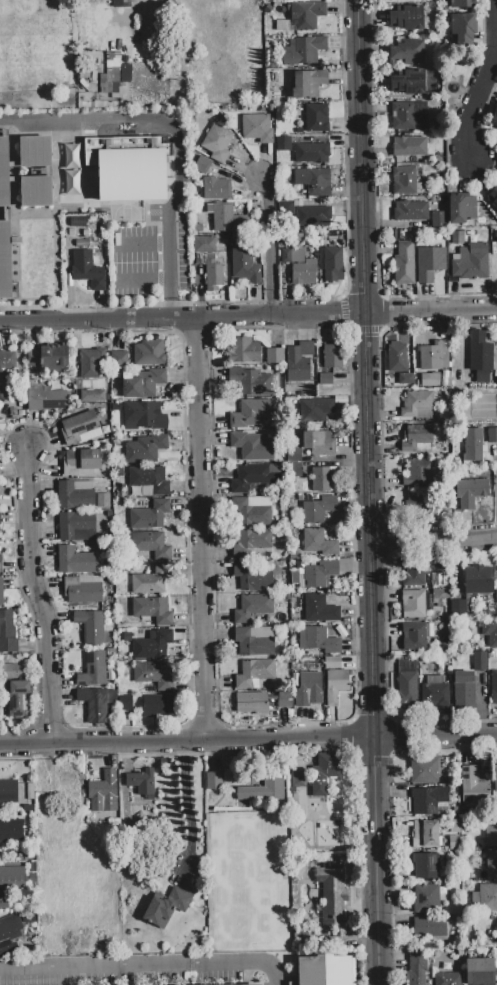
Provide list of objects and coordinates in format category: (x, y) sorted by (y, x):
building: (118, 3)
building: (462, 4)
road: (496, 4)
building: (306, 15)
building: (407, 18)
building: (464, 31)
building: (303, 50)
building: (408, 53)
building: (111, 72)
building: (408, 83)
building: (308, 84)
road: (477, 104)
building: (406, 115)
building: (494, 117)
building: (316, 118)
road: (170, 124)
building: (256, 128)
building: (217, 143)
building: (283, 143)
building: (408, 149)
building: (34, 151)
building: (311, 152)
building: (202, 165)
building: (127, 167)
building: (70, 169)
building: (4, 173)
building: (313, 180)
building: (405, 182)
building: (216, 188)
building: (36, 191)
building: (493, 197)
building: (284, 208)
building: (461, 209)
building: (411, 211)
building: (222, 217)
building: (313, 217)
building: (438, 219)
building: (198, 228)
road: (140, 244)
road: (268, 245)
building: (496, 245)
building: (292, 255)
building: (5, 260)
building: (208, 261)
building: (331, 263)
building: (429, 263)
building: (471, 263)
building: (244, 264)
building: (404, 264)
building: (87, 269)
building: (305, 271)
road: (141, 280)
road: (167, 306)
road: (248, 317)
building: (243, 350)
building: (148, 354)
building: (274, 356)
building: (333, 356)
building: (435, 356)
building: (480, 356)
building: (49, 357)
building: (397, 357)
building: (119, 360)
building: (298, 362)
building: (90, 363)
building: (3, 375)
building: (404, 378)
building: (326, 379)
building: (429, 380)
building: (255, 383)
building: (143, 384)
building: (92, 396)
building: (46, 400)
building: (417, 405)
building: (314, 410)
building: (251, 413)
building: (143, 416)
building: (80, 429)
building: (492, 435)
building: (417, 438)
building: (318, 443)
building: (473, 445)
building: (252, 446)
building: (145, 449)
building: (293, 460)
building: (80, 462)
building: (419, 473)
building: (254, 477)
building: (324, 479)
building: (149, 480)
building: (471, 488)
road: (368, 492)
building: (75, 495)
building: (415, 498)
building: (103, 500)
building: (318, 509)
building: (250, 513)
building: (149, 515)
building: (123, 524)
building: (77, 526)
road: (202, 530)
road: (433, 541)
building: (251, 542)
building: (318, 543)
building: (150, 545)
building: (74, 561)
building: (412, 571)
building: (496, 571)
building: (315, 574)
building: (251, 578)
building: (435, 578)
building: (152, 580)
building: (479, 580)
building: (82, 589)
building: (1, 592)
building: (440, 594)
road: (38, 597)
building: (413, 604)
building: (253, 607)
building: (458, 608)
building: (319, 609)
building: (152, 610)
building: (90, 627)
building: (490, 632)
building: (7, 634)
building: (120, 634)
building: (414, 636)
building: (321, 640)
building: (255, 641)
building: (153, 645)
building: (445, 658)
building: (480, 661)
building: (332, 663)
building: (93, 670)
building: (254, 673)
building: (153, 675)
building: (406, 683)
building: (335, 685)
building: (494, 687)
building: (308, 689)
building: (464, 689)
building: (13, 690)
building: (435, 692)
building: (285, 700)
building: (125, 703)
building: (251, 703)
building: (93, 705)
building: (158, 706)
road: (248, 741)
building: (423, 770)
building: (324, 773)
building: (495, 777)
building: (72, 780)
building: (298, 780)
building: (214, 781)
building: (142, 784)
building: (473, 786)
building: (8, 791)
building: (263, 791)
building: (103, 792)
building: (295, 798)
building: (430, 801)
building: (455, 826)
building: (11, 830)
building: (490, 832)
building: (425, 834)
building: (454, 842)
building: (491, 864)
building: (425, 866)
building: (11, 878)
building: (467, 878)
park: (249, 881)
building: (475, 897)
building: (487, 897)
building: (426, 899)
building: (331, 902)
building: (166, 907)
building: (29, 916)
building: (429, 927)
building: (10, 928)
building: (496, 932)
road: (145, 967)
building: (416, 969)
building: (325, 970)
building: (480, 971)
building: (496, 972)
building: (448, 979)
building: (252, 984)

